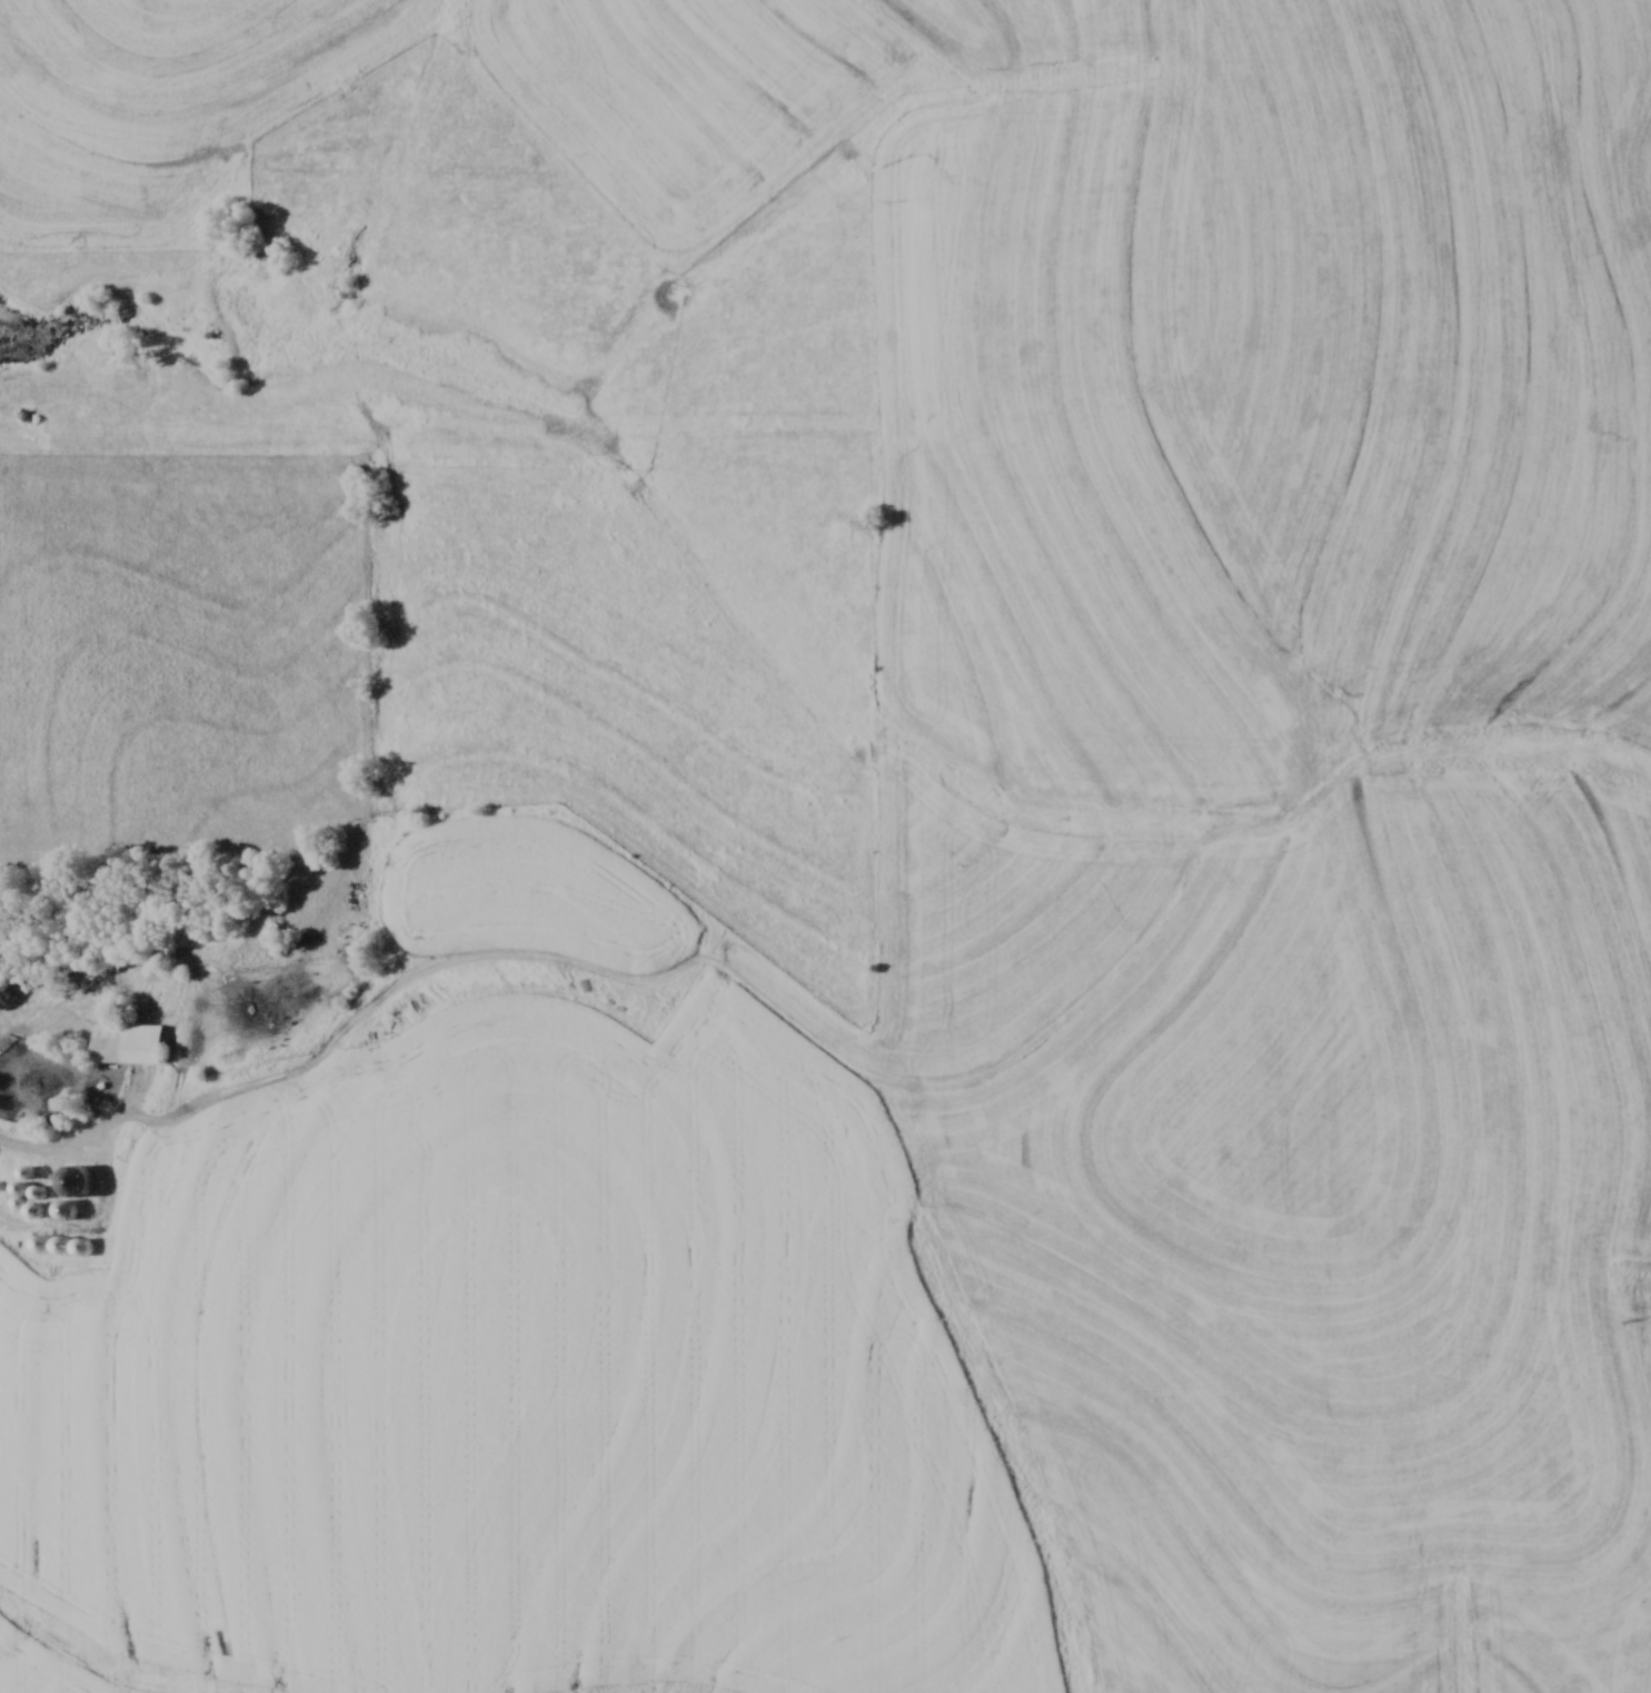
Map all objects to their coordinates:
building: (131, 1043)
road: (82, 1142)
building: (83, 1181)
building: (69, 1209)
building: (42, 1242)
building: (84, 1242)

